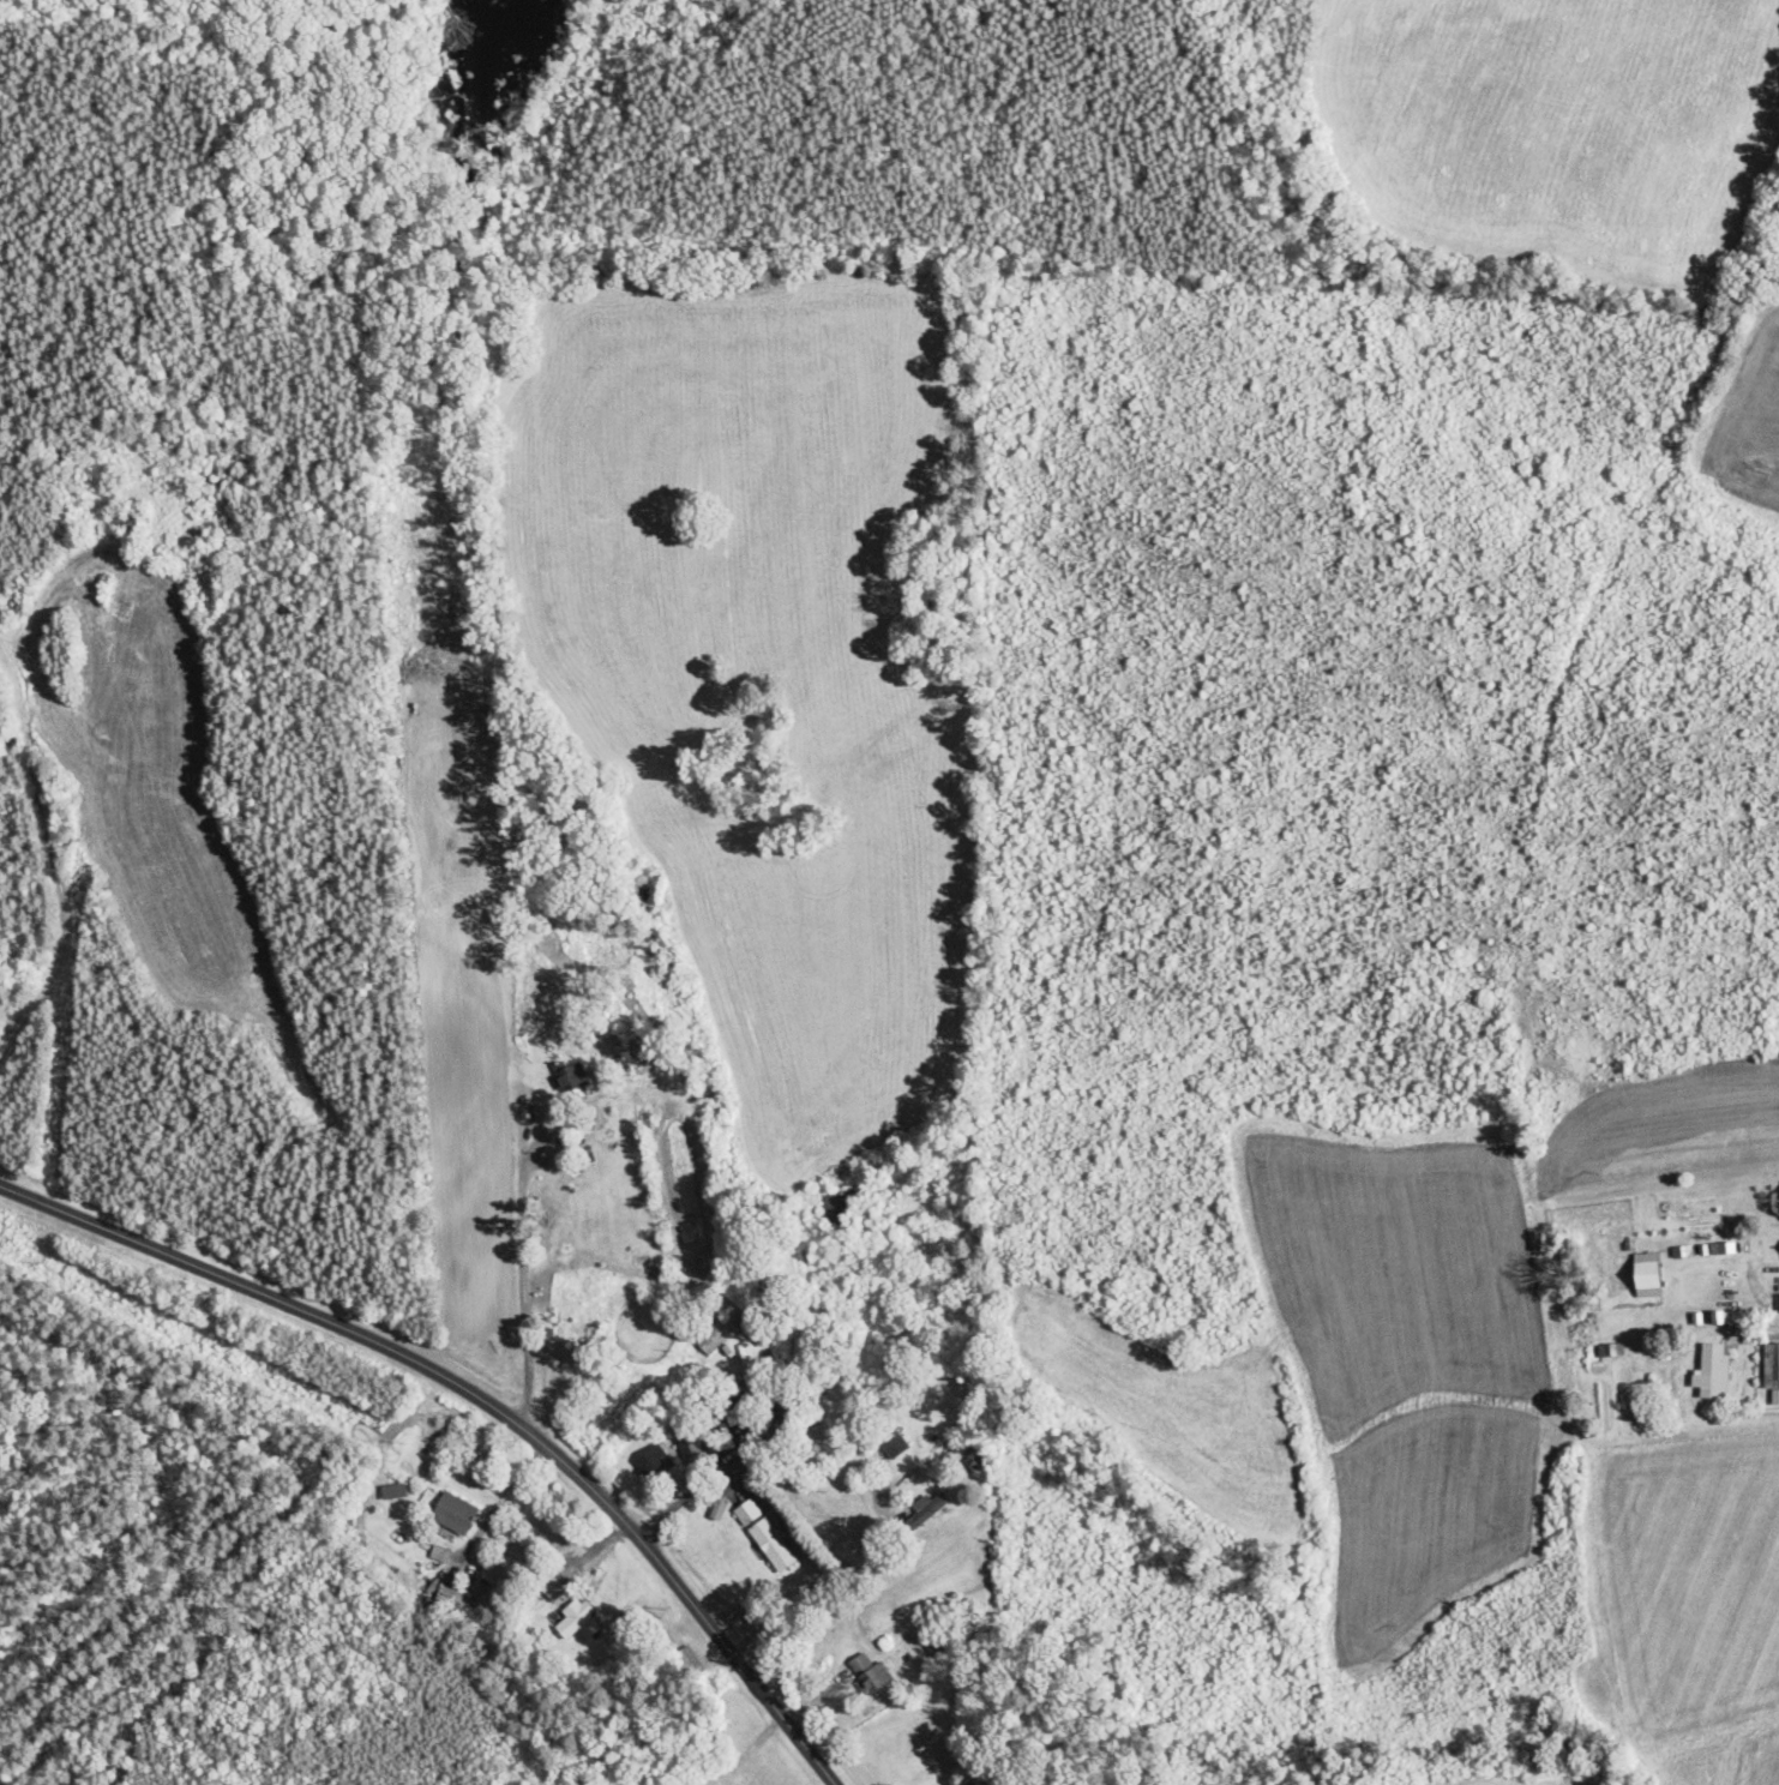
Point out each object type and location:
building: (125, 522)
road: (53, 857)
building: (1648, 1275)
building: (715, 1334)
building: (757, 1334)
building: (566, 1364)
building: (1771, 1366)
building: (1714, 1372)
road: (480, 1399)
building: (938, 1410)
building: (787, 1420)
building: (894, 1442)
building: (696, 1447)
building: (654, 1461)
building: (395, 1491)
building: (927, 1511)
building: (456, 1514)
building: (767, 1535)
building: (577, 1619)
building: (940, 1647)
building: (690, 1665)
building: (871, 1675)

